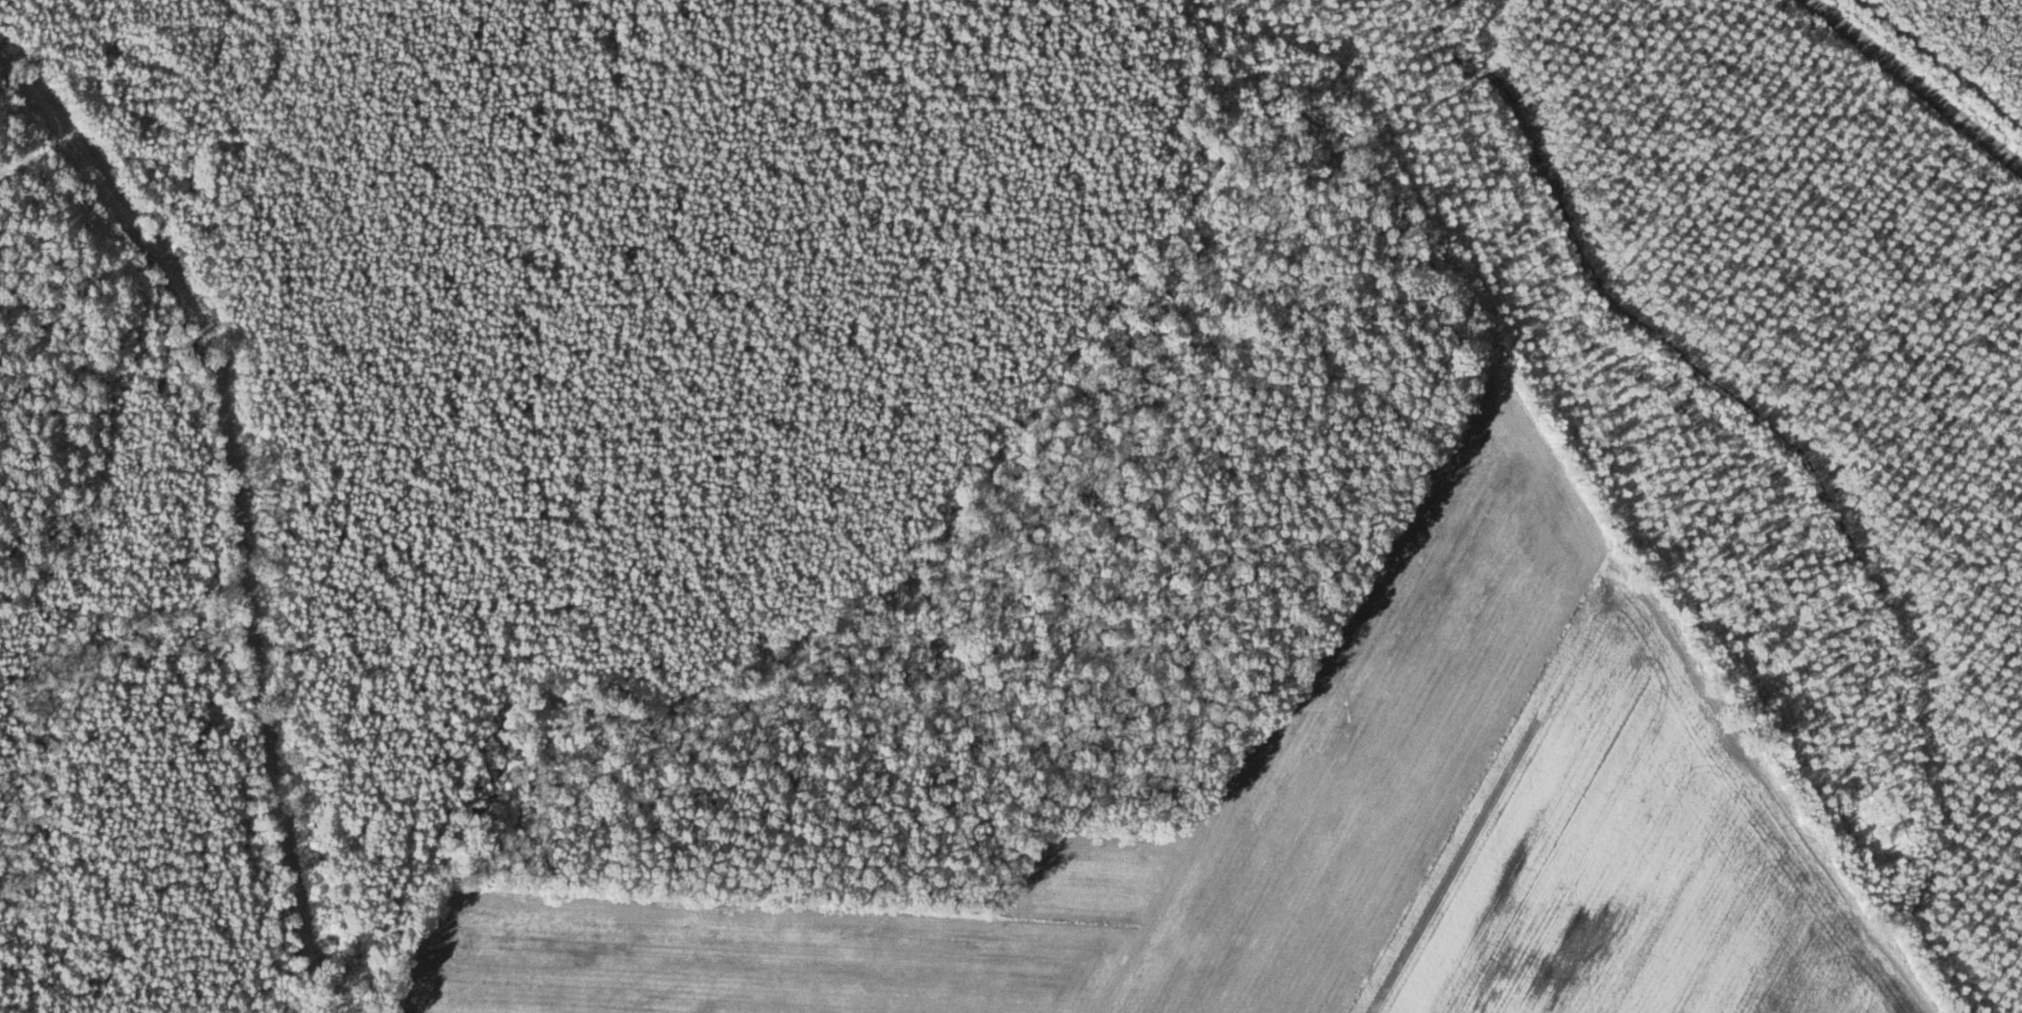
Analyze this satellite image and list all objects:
road: (1931, 75)

